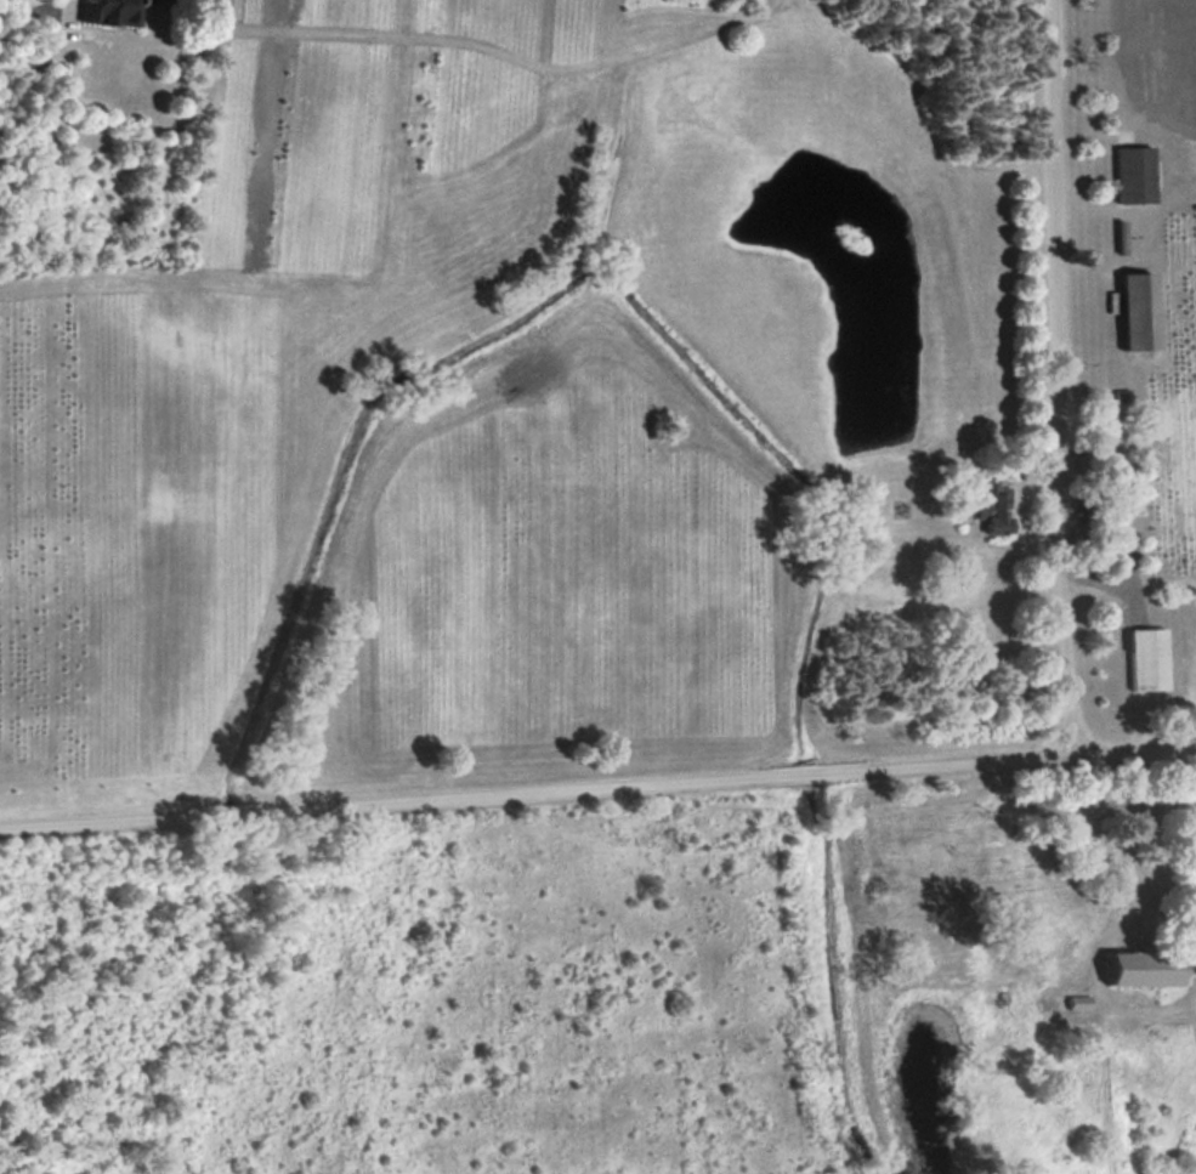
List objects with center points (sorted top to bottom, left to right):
building: (110, 13)
building: (1137, 172)
building: (1143, 311)
road: (1059, 376)
building: (998, 511)
building: (1150, 659)
road: (597, 779)
building: (1149, 968)

